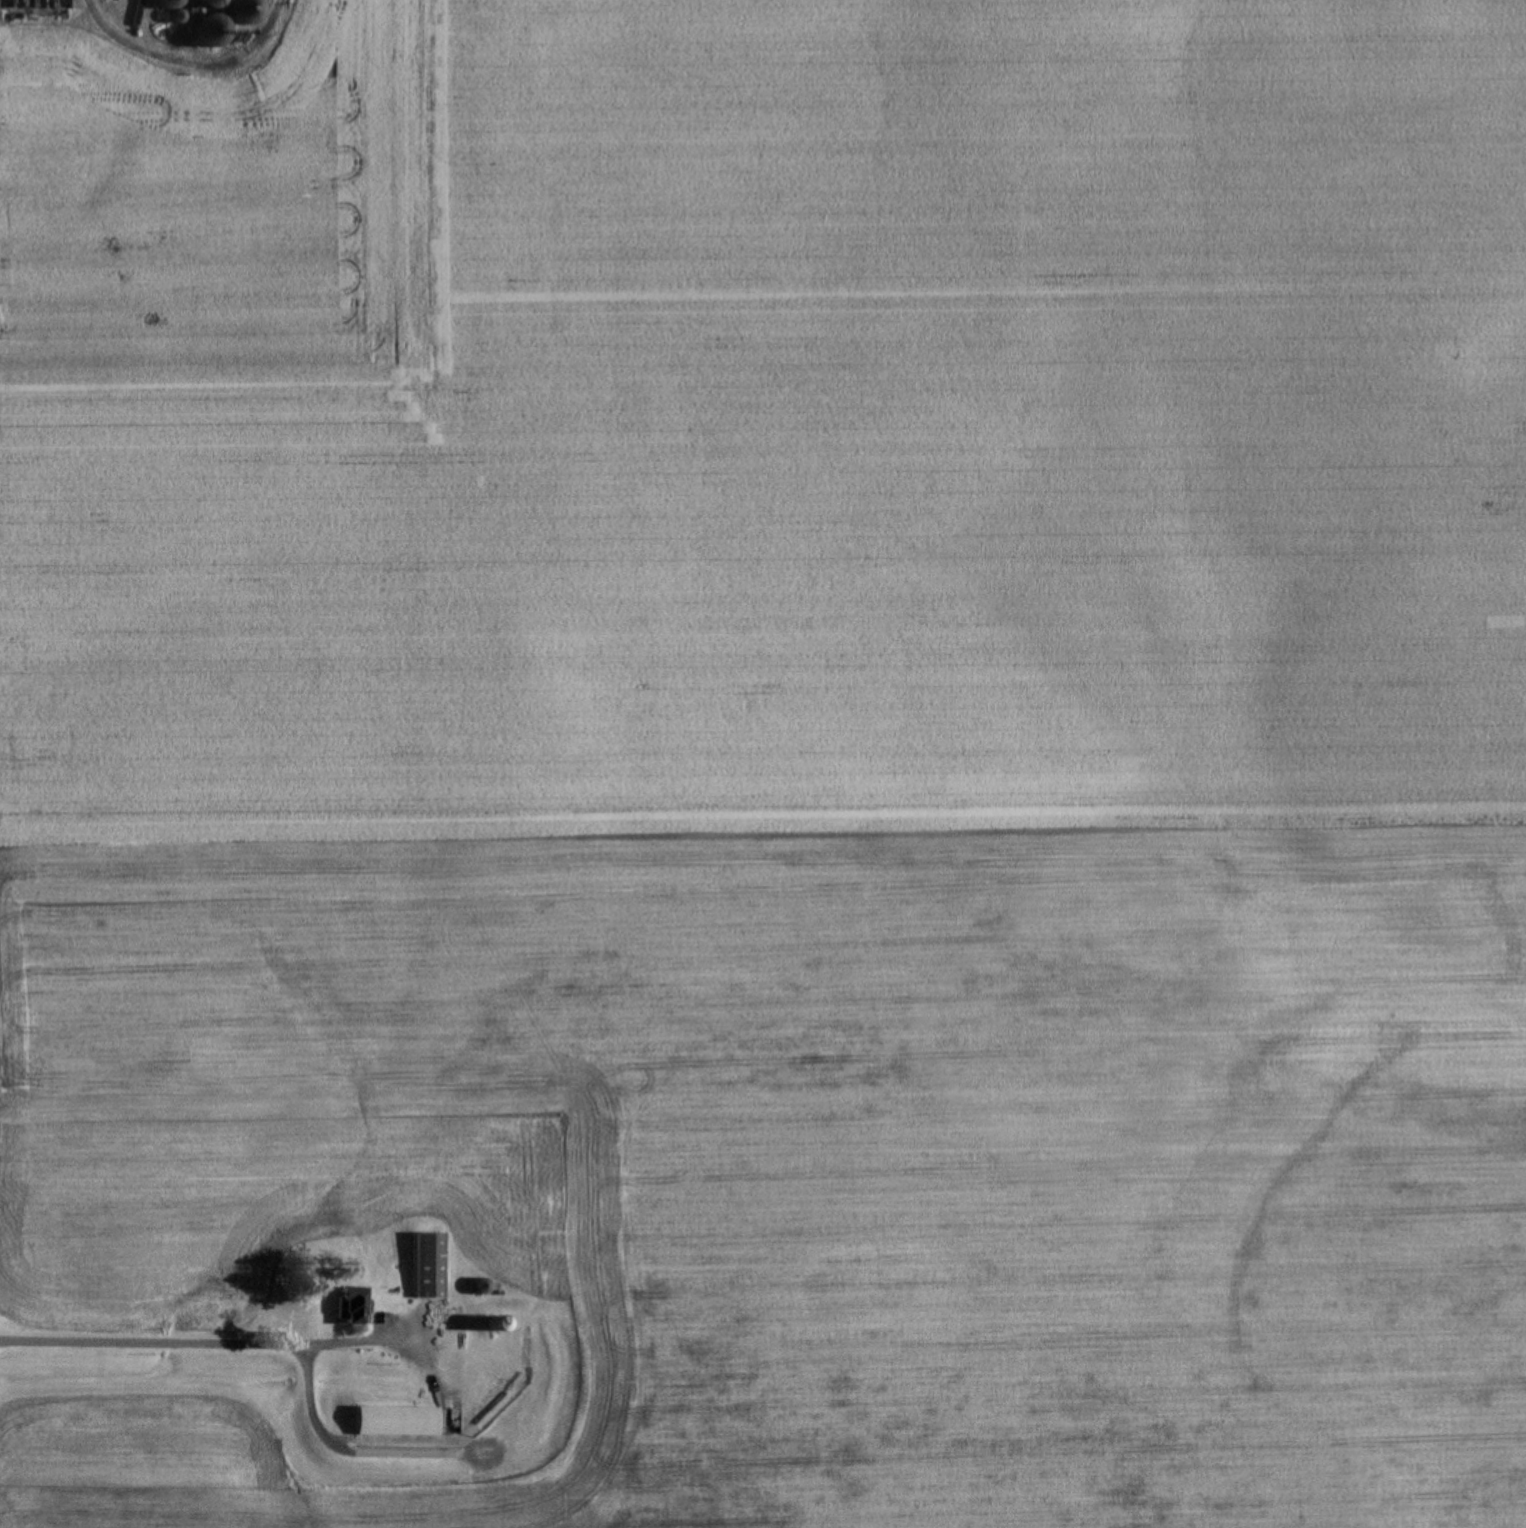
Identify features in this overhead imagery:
building: (11, 19)
road: (187, 63)
building: (426, 1267)
building: (477, 1288)
building: (342, 1307)
road: (151, 1342)
building: (390, 1423)

